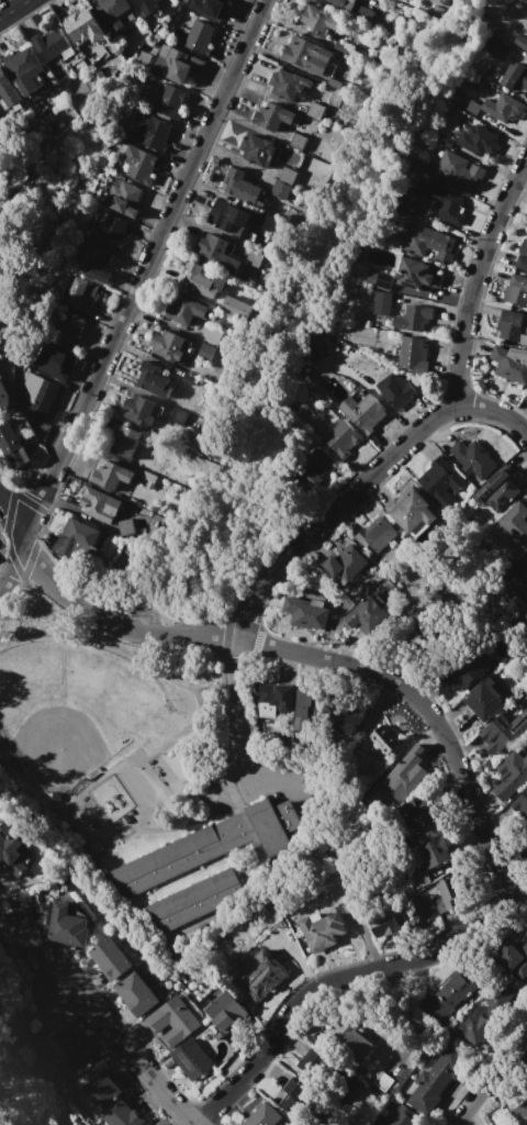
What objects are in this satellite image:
building: (338, 3)
building: (145, 5)
building: (211, 7)
road: (13, 8)
building: (114, 12)
building: (363, 14)
building: (314, 20)
building: (85, 26)
building: (199, 37)
building: (520, 42)
building: (53, 45)
building: (494, 48)
building: (309, 56)
building: (21, 62)
building: (176, 65)
building: (33, 79)
building: (515, 79)
building: (289, 85)
building: (7, 90)
building: (169, 102)
building: (497, 108)
building: (315, 111)
building: (272, 115)
building: (148, 131)
building: (296, 141)
building: (476, 141)
building: (257, 151)
building: (137, 163)
building: (458, 172)
building: (287, 176)
building: (240, 187)
building: (279, 190)
building: (125, 198)
building: (440, 201)
building: (403, 211)
building: (227, 218)
building: (111, 231)
building: (427, 244)
building: (211, 247)
building: (522, 256)
building: (254, 257)
building: (97, 264)
building: (229, 265)
building: (416, 274)
road: (475, 278)
building: (200, 280)
building: (516, 290)
building: (80, 296)
road: (138, 297)
building: (380, 302)
building: (235, 307)
building: (183, 309)
building: (413, 318)
building: (508, 325)
building: (67, 327)
building: (212, 336)
building: (314, 344)
building: (168, 346)
building: (205, 352)
building: (413, 353)
building: (53, 360)
building: (511, 364)
building: (189, 379)
building: (154, 381)
building: (396, 390)
building: (3, 396)
building: (36, 397)
building: (138, 411)
building: (363, 411)
road: (496, 413)
building: (178, 416)
building: (341, 438)
building: (122, 441)
building: (11, 446)
building: (472, 458)
building: (311, 467)
building: (109, 476)
building: (147, 479)
building: (439, 482)
building: (497, 491)
building: (99, 504)
road: (335, 508)
building: (413, 513)
building: (516, 523)
building: (124, 527)
road: (13, 528)
building: (76, 534)
building: (374, 535)
building: (344, 564)
building: (522, 586)
building: (304, 613)
building: (363, 614)
building: (525, 616)
building: (526, 624)
road: (318, 656)
building: (468, 666)
building: (273, 699)
building: (482, 700)
road: (240, 708)
building: (303, 709)
building: (346, 717)
building: (506, 729)
building: (384, 739)
building: (363, 762)
building: (404, 775)
building: (509, 775)
building: (379, 792)
building: (520, 804)
building: (419, 812)
building: (208, 846)
building: (10, 849)
building: (435, 854)
building: (417, 880)
building: (445, 896)
building: (193, 901)
building: (383, 924)
building: (67, 925)
building: (323, 929)
building: (18, 932)
building: (526, 939)
building: (110, 958)
building: (513, 958)
building: (263, 974)
road: (343, 982)
building: (136, 993)
building: (450, 994)
building: (226, 1012)
building: (171, 1021)
building: (475, 1024)
building: (349, 1038)
building: (69, 1047)
road: (135, 1052)
building: (192, 1059)
building: (309, 1060)
road: (490, 1074)
building: (435, 1079)
building: (390, 1081)
building: (347, 1089)
building: (101, 1090)
building: (294, 1098)
building: (519, 1111)
building: (262, 1115)
building: (123, 1116)
building: (401, 1116)
building: (377, 1123)
building: (148, 1124)

